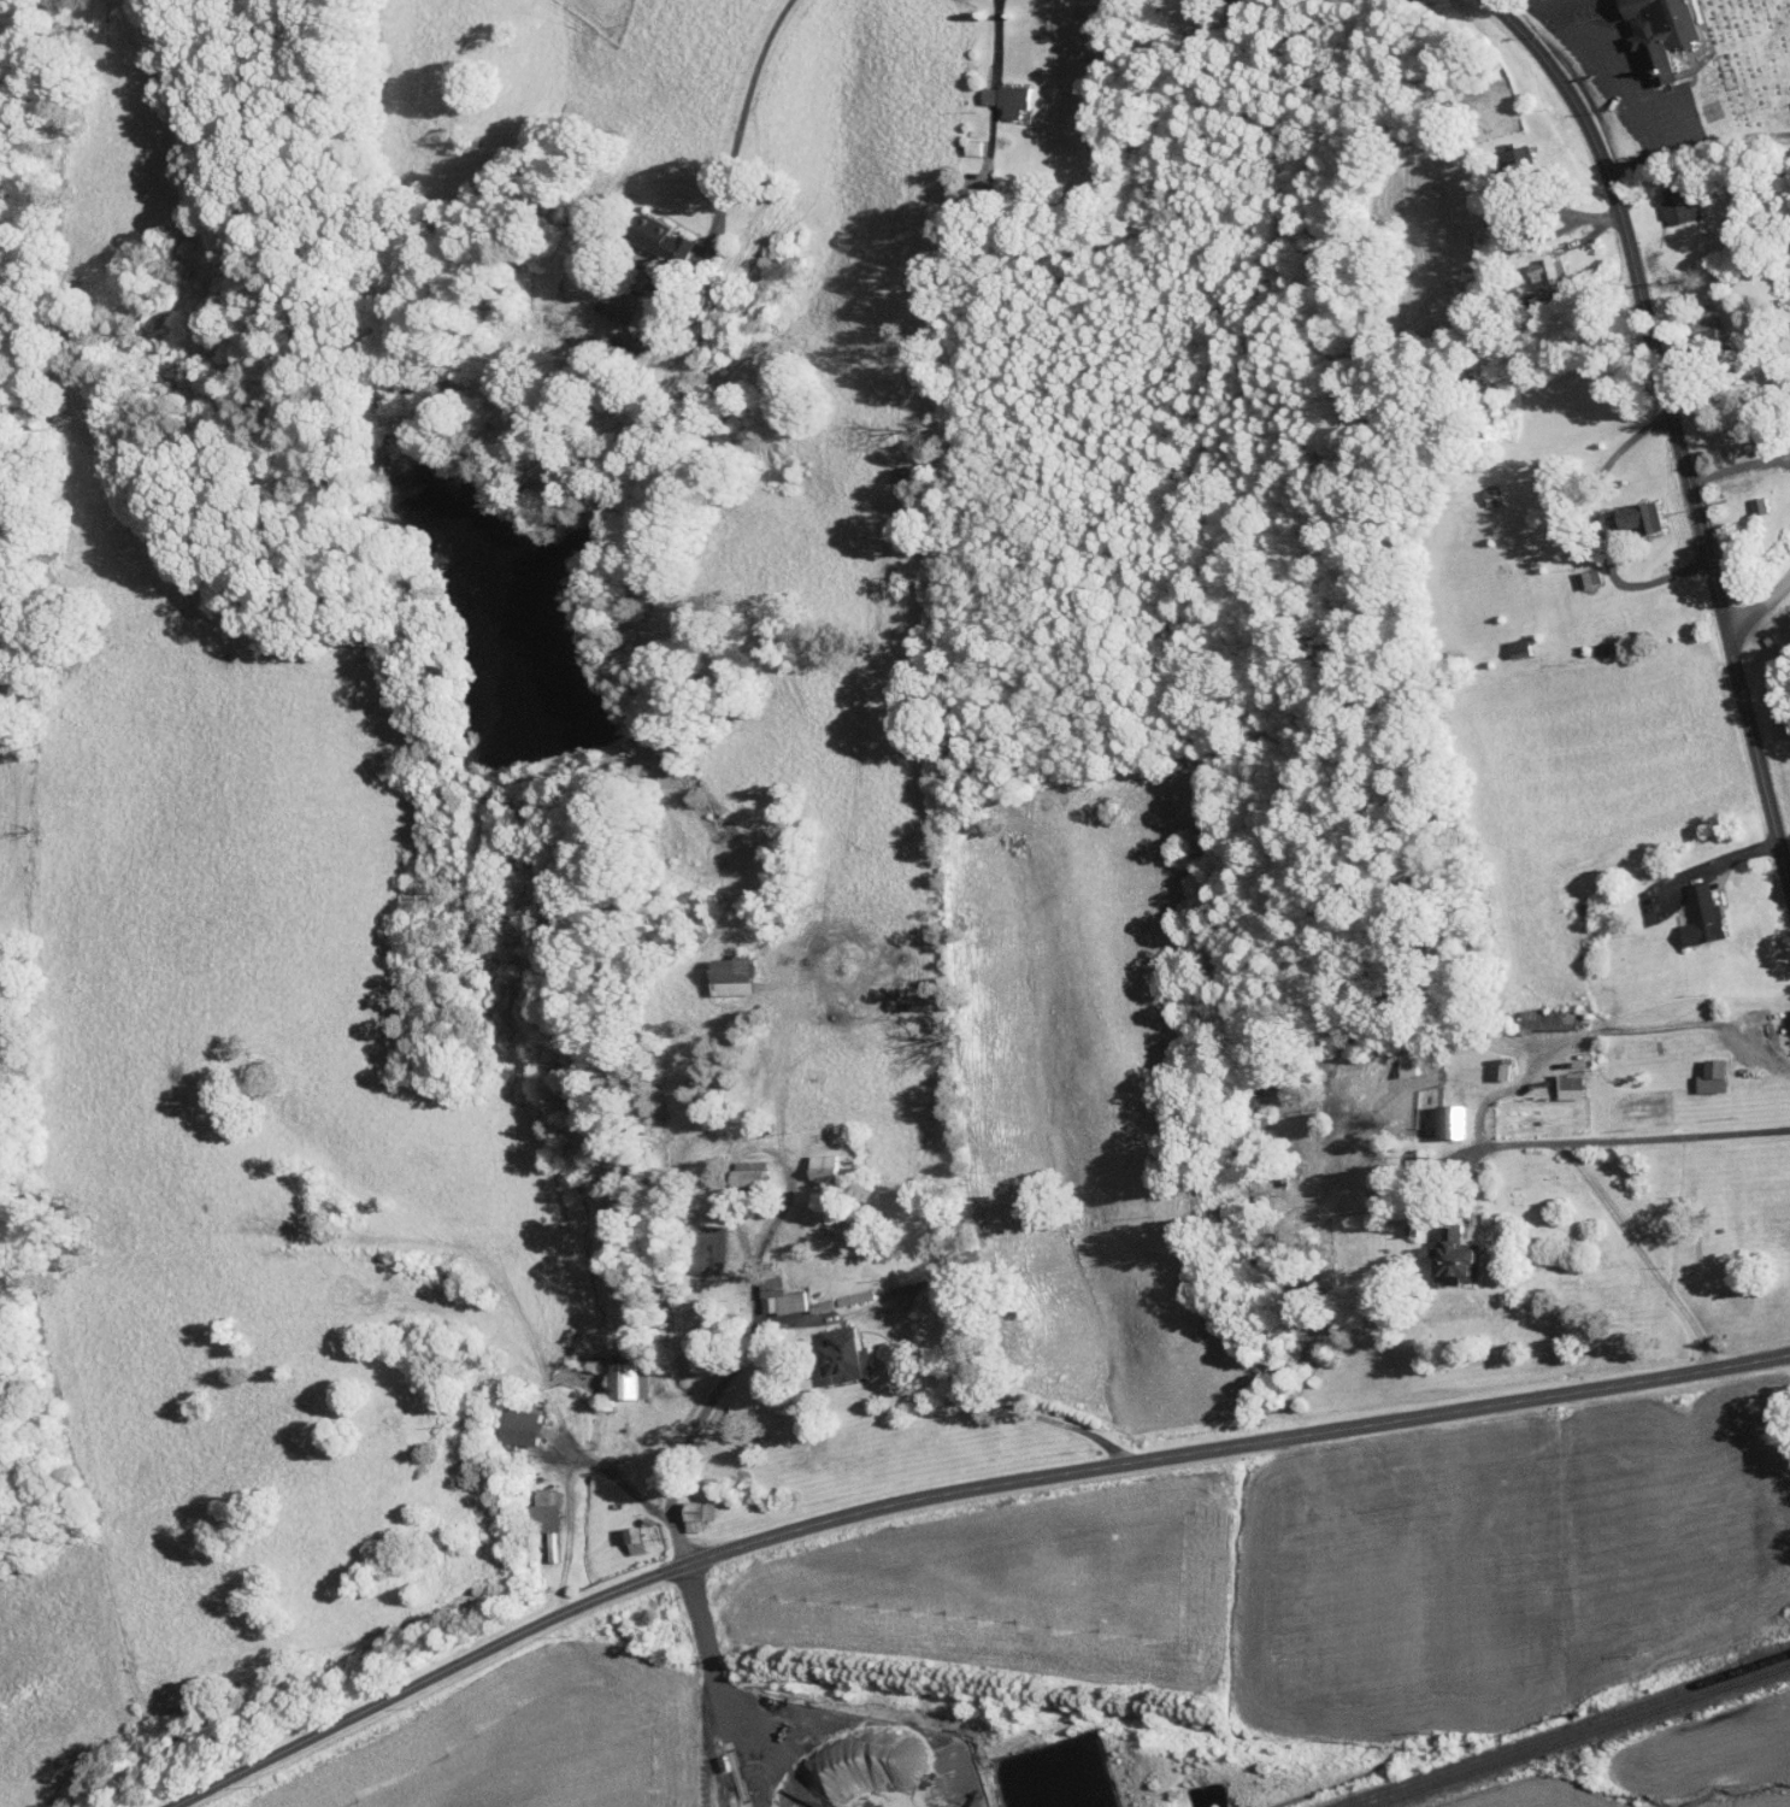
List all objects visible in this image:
road: (1560, 2)
park: (1745, 66)
road: (1612, 73)
building: (996, 92)
road: (747, 101)
building: (1497, 148)
road: (1520, 205)
building: (654, 231)
building: (1529, 266)
building: (608, 299)
road: (1673, 428)
road: (1719, 472)
building: (1618, 510)
road: (1597, 529)
road: (1757, 605)
building: (1684, 910)
building: (724, 967)
building: (1527, 1012)
road: (1608, 1030)
building: (1482, 1064)
building: (1694, 1070)
building: (1551, 1079)
building: (1432, 1114)
road: (1495, 1143)
building: (814, 1161)
road: (1574, 1161)
building: (743, 1170)
building: (1433, 1249)
building: (766, 1288)
road: (795, 1323)
building: (836, 1349)
building: (617, 1373)
road: (1019, 1409)
road: (619, 1481)
road: (952, 1491)
building: (534, 1505)
building: (687, 1508)
building: (624, 1532)
road: (709, 1652)
railway: (1560, 1730)
railway: (1579, 1737)

